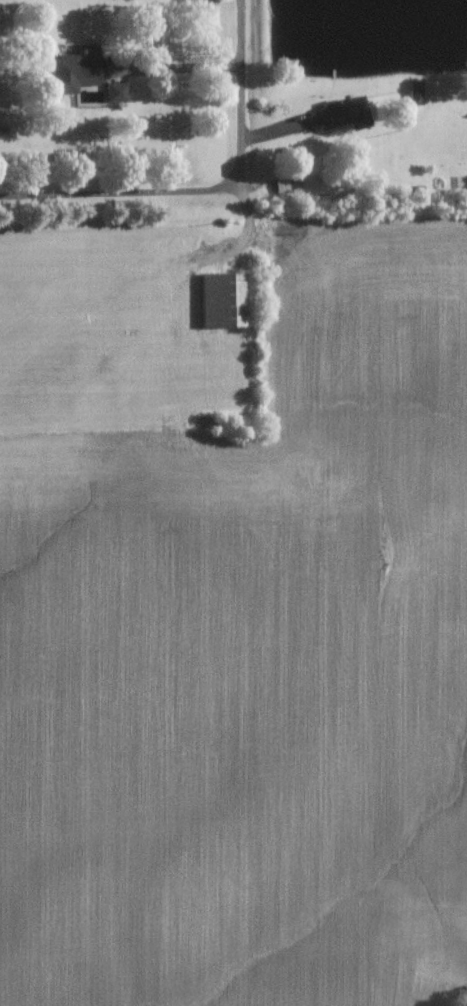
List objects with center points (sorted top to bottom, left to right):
building: (78, 68)
road: (184, 68)
building: (116, 91)
building: (415, 92)
road: (247, 96)
building: (341, 114)
road: (124, 196)
building: (222, 299)

